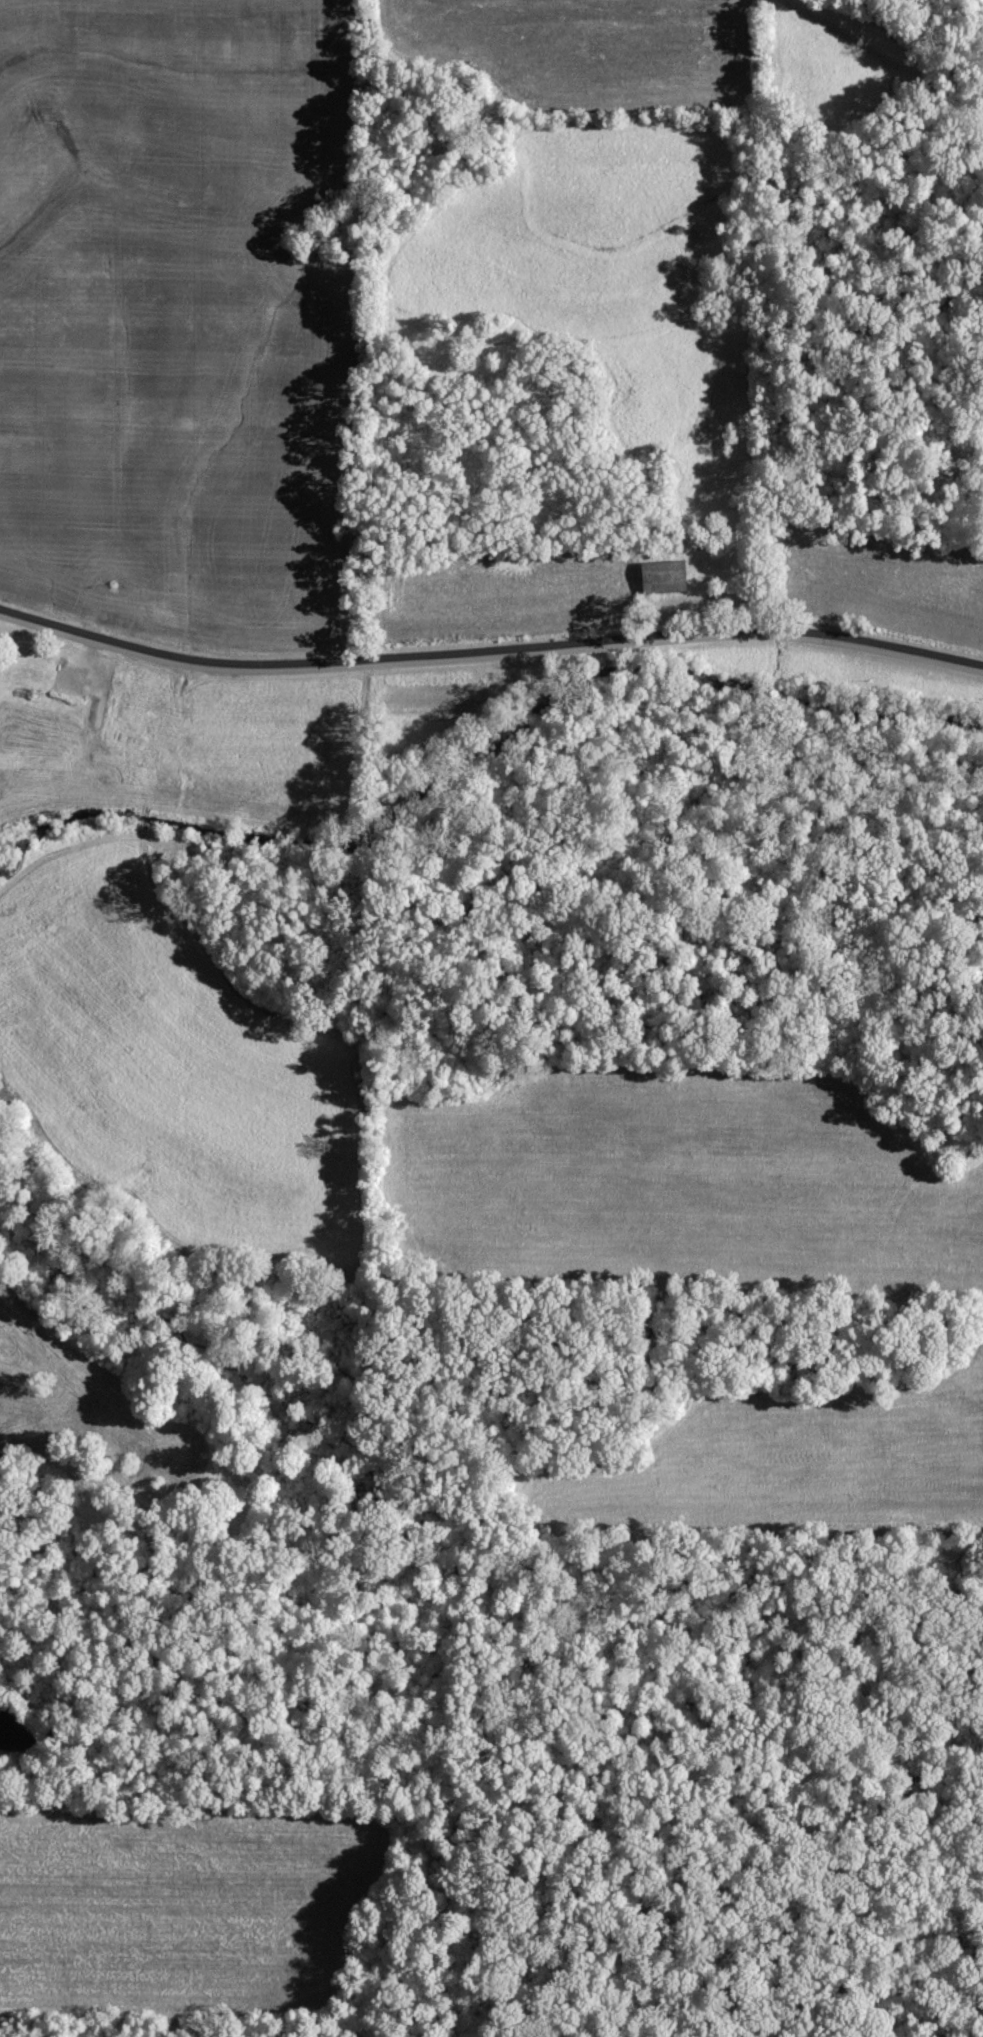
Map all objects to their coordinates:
building: (664, 576)
road: (489, 651)

